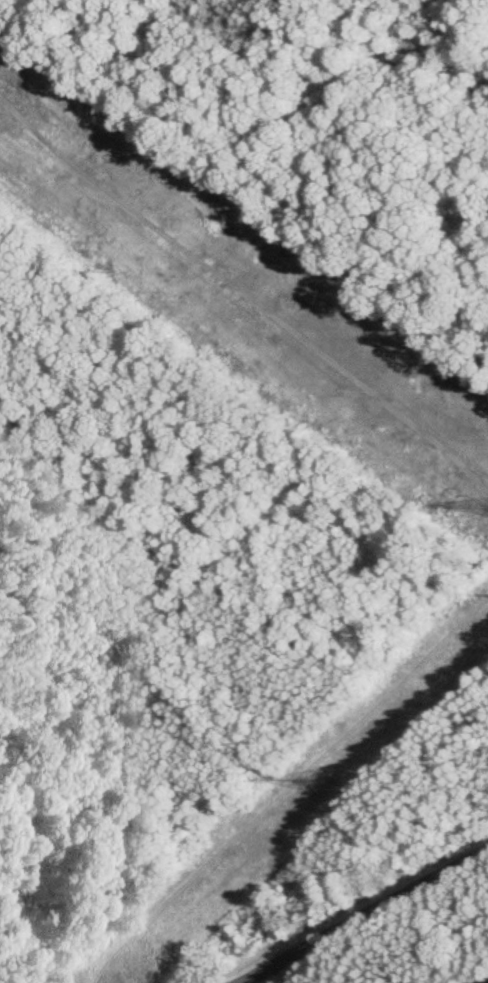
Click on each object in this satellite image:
power tower: (315, 782)
road: (361, 916)

